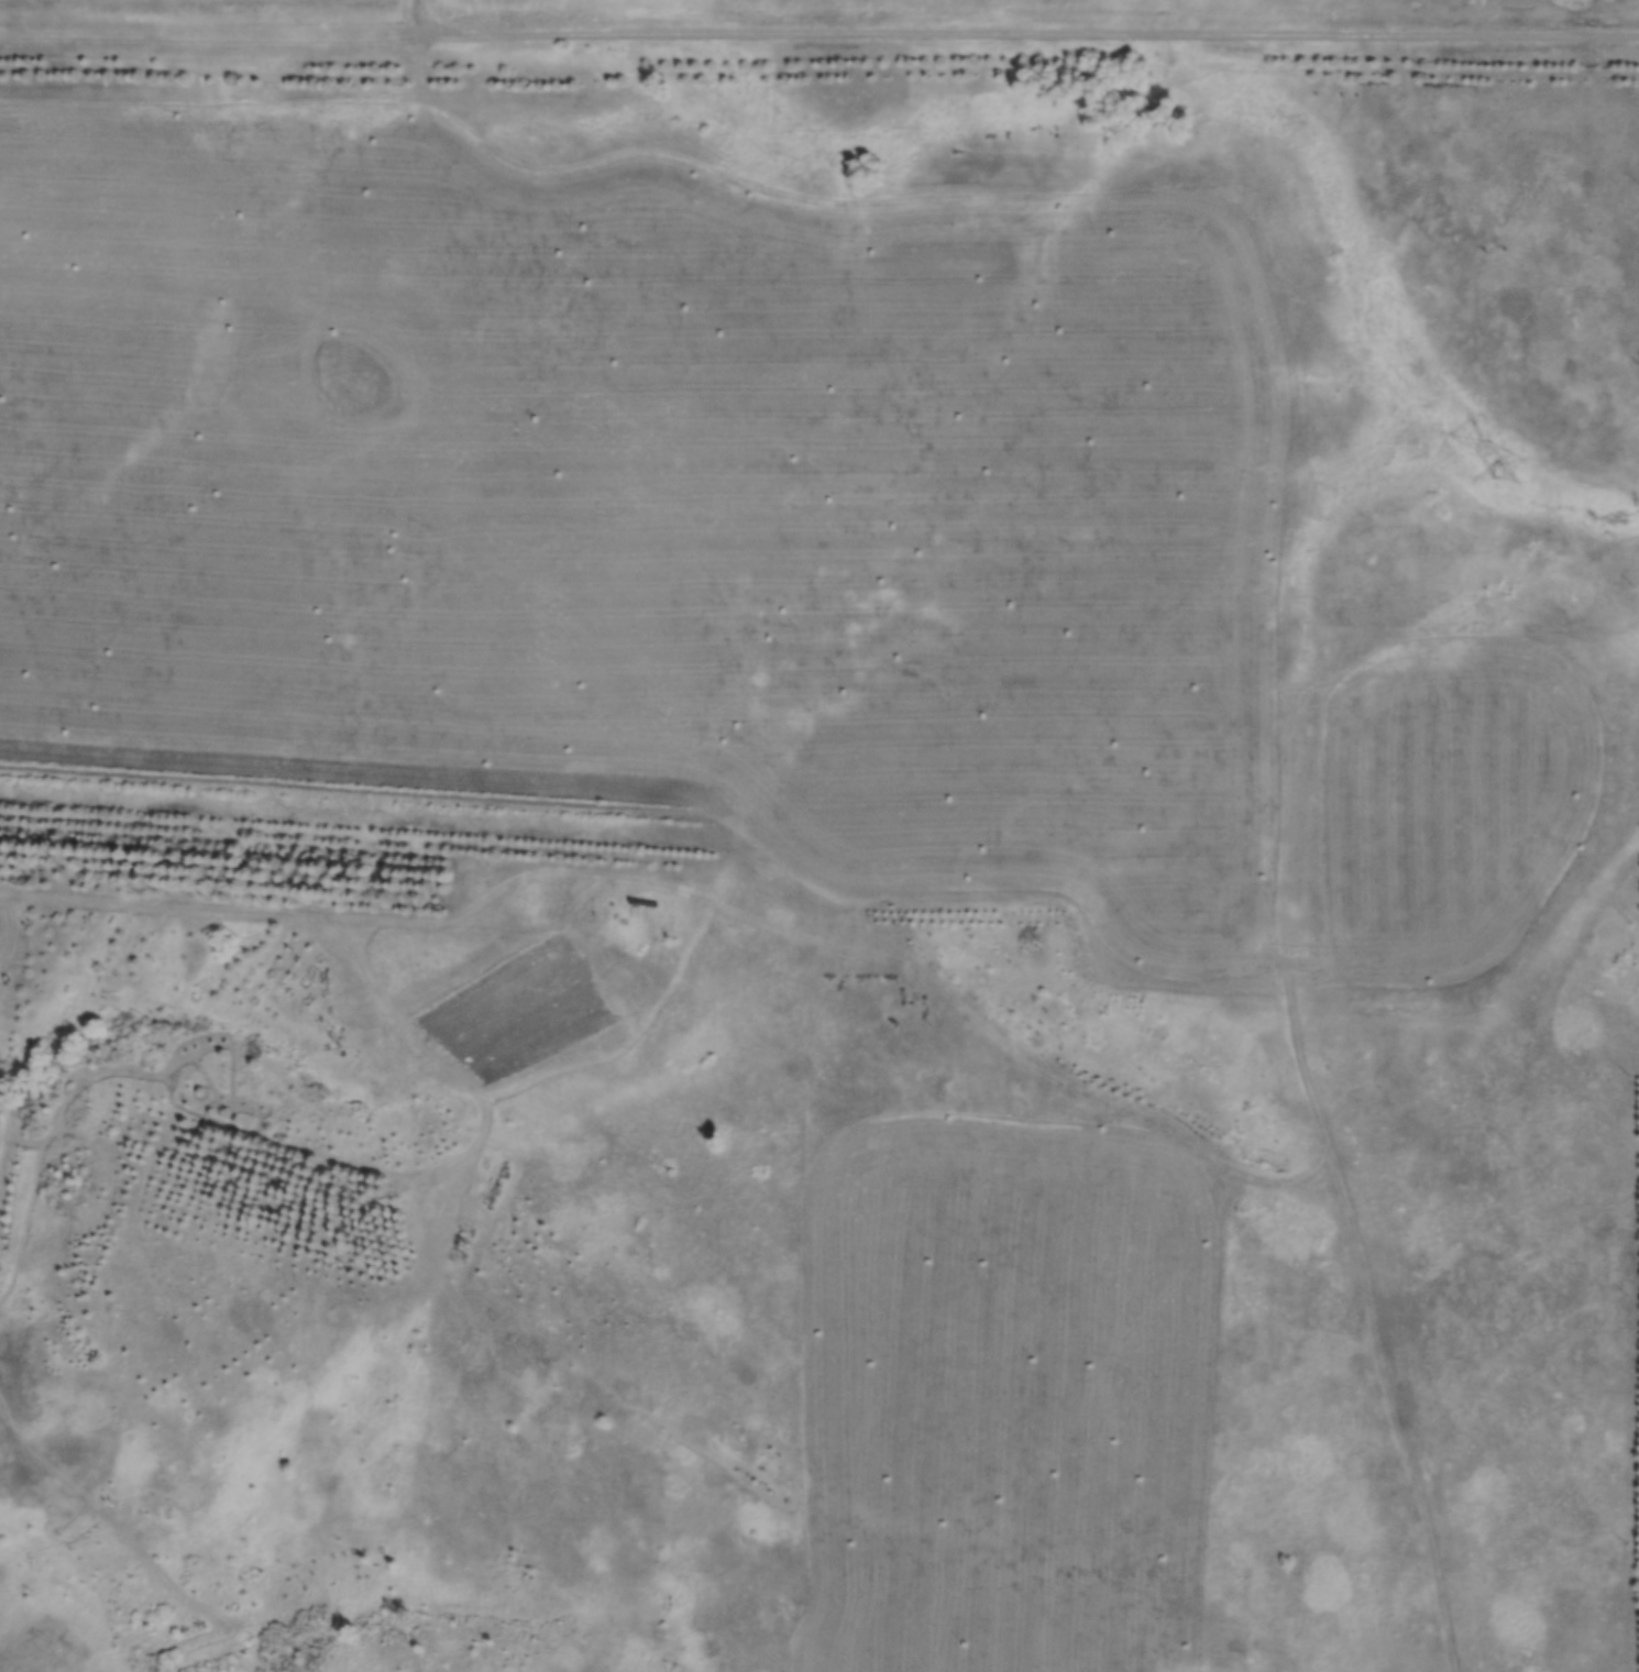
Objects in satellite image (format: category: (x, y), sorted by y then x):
road: (424, 7)
road: (1025, 42)
power tower: (1507, 471)

